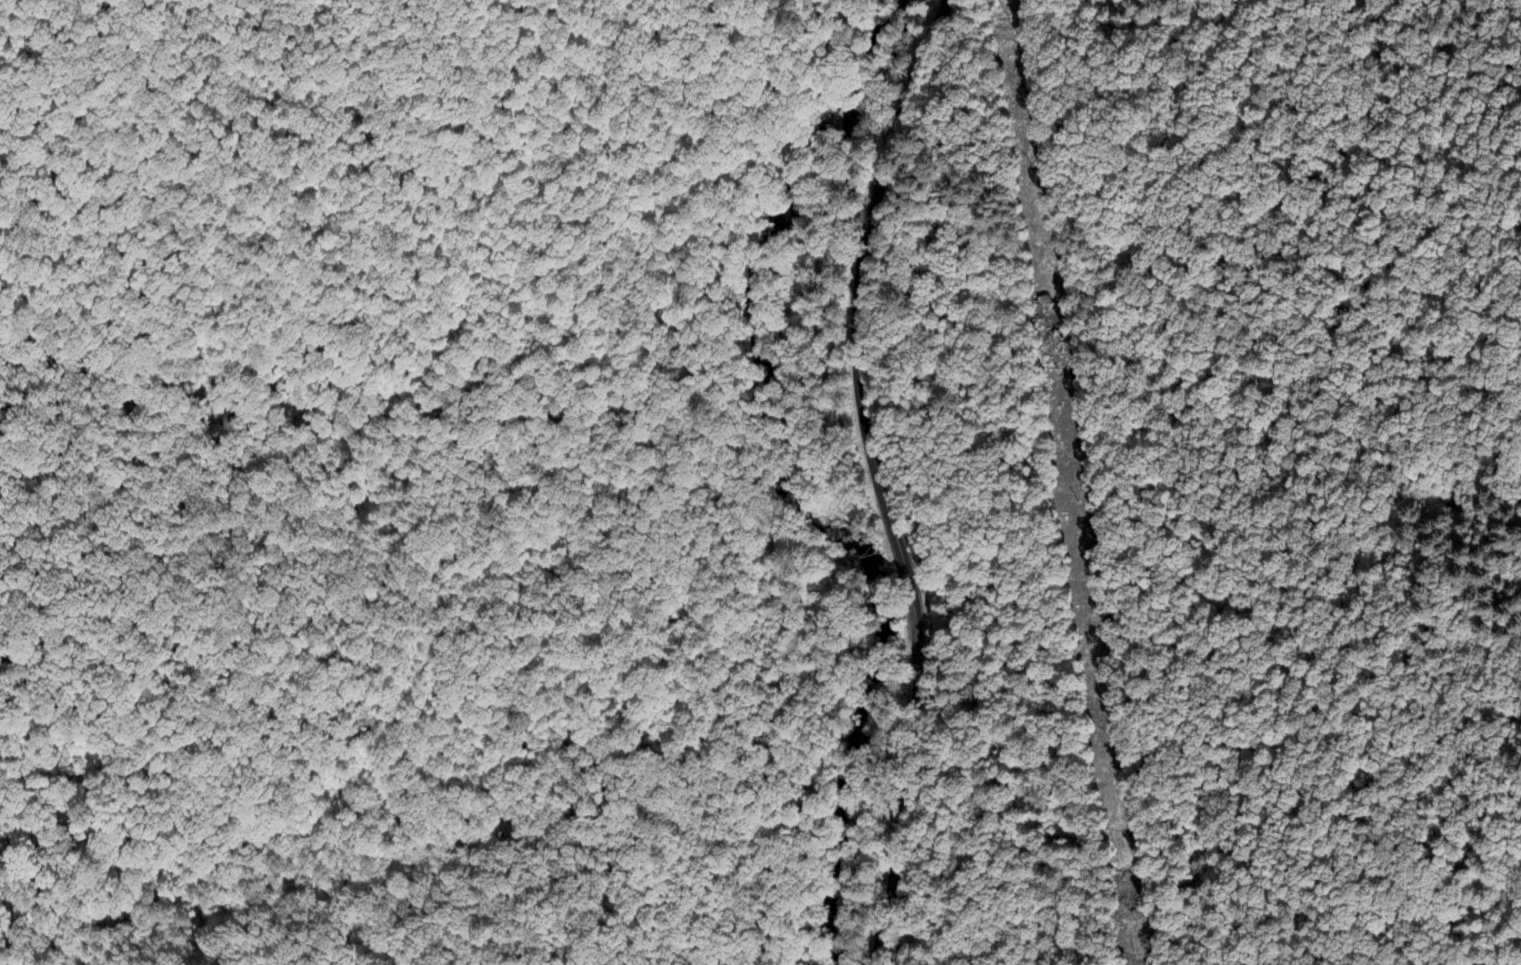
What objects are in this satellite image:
road: (877, 478)

